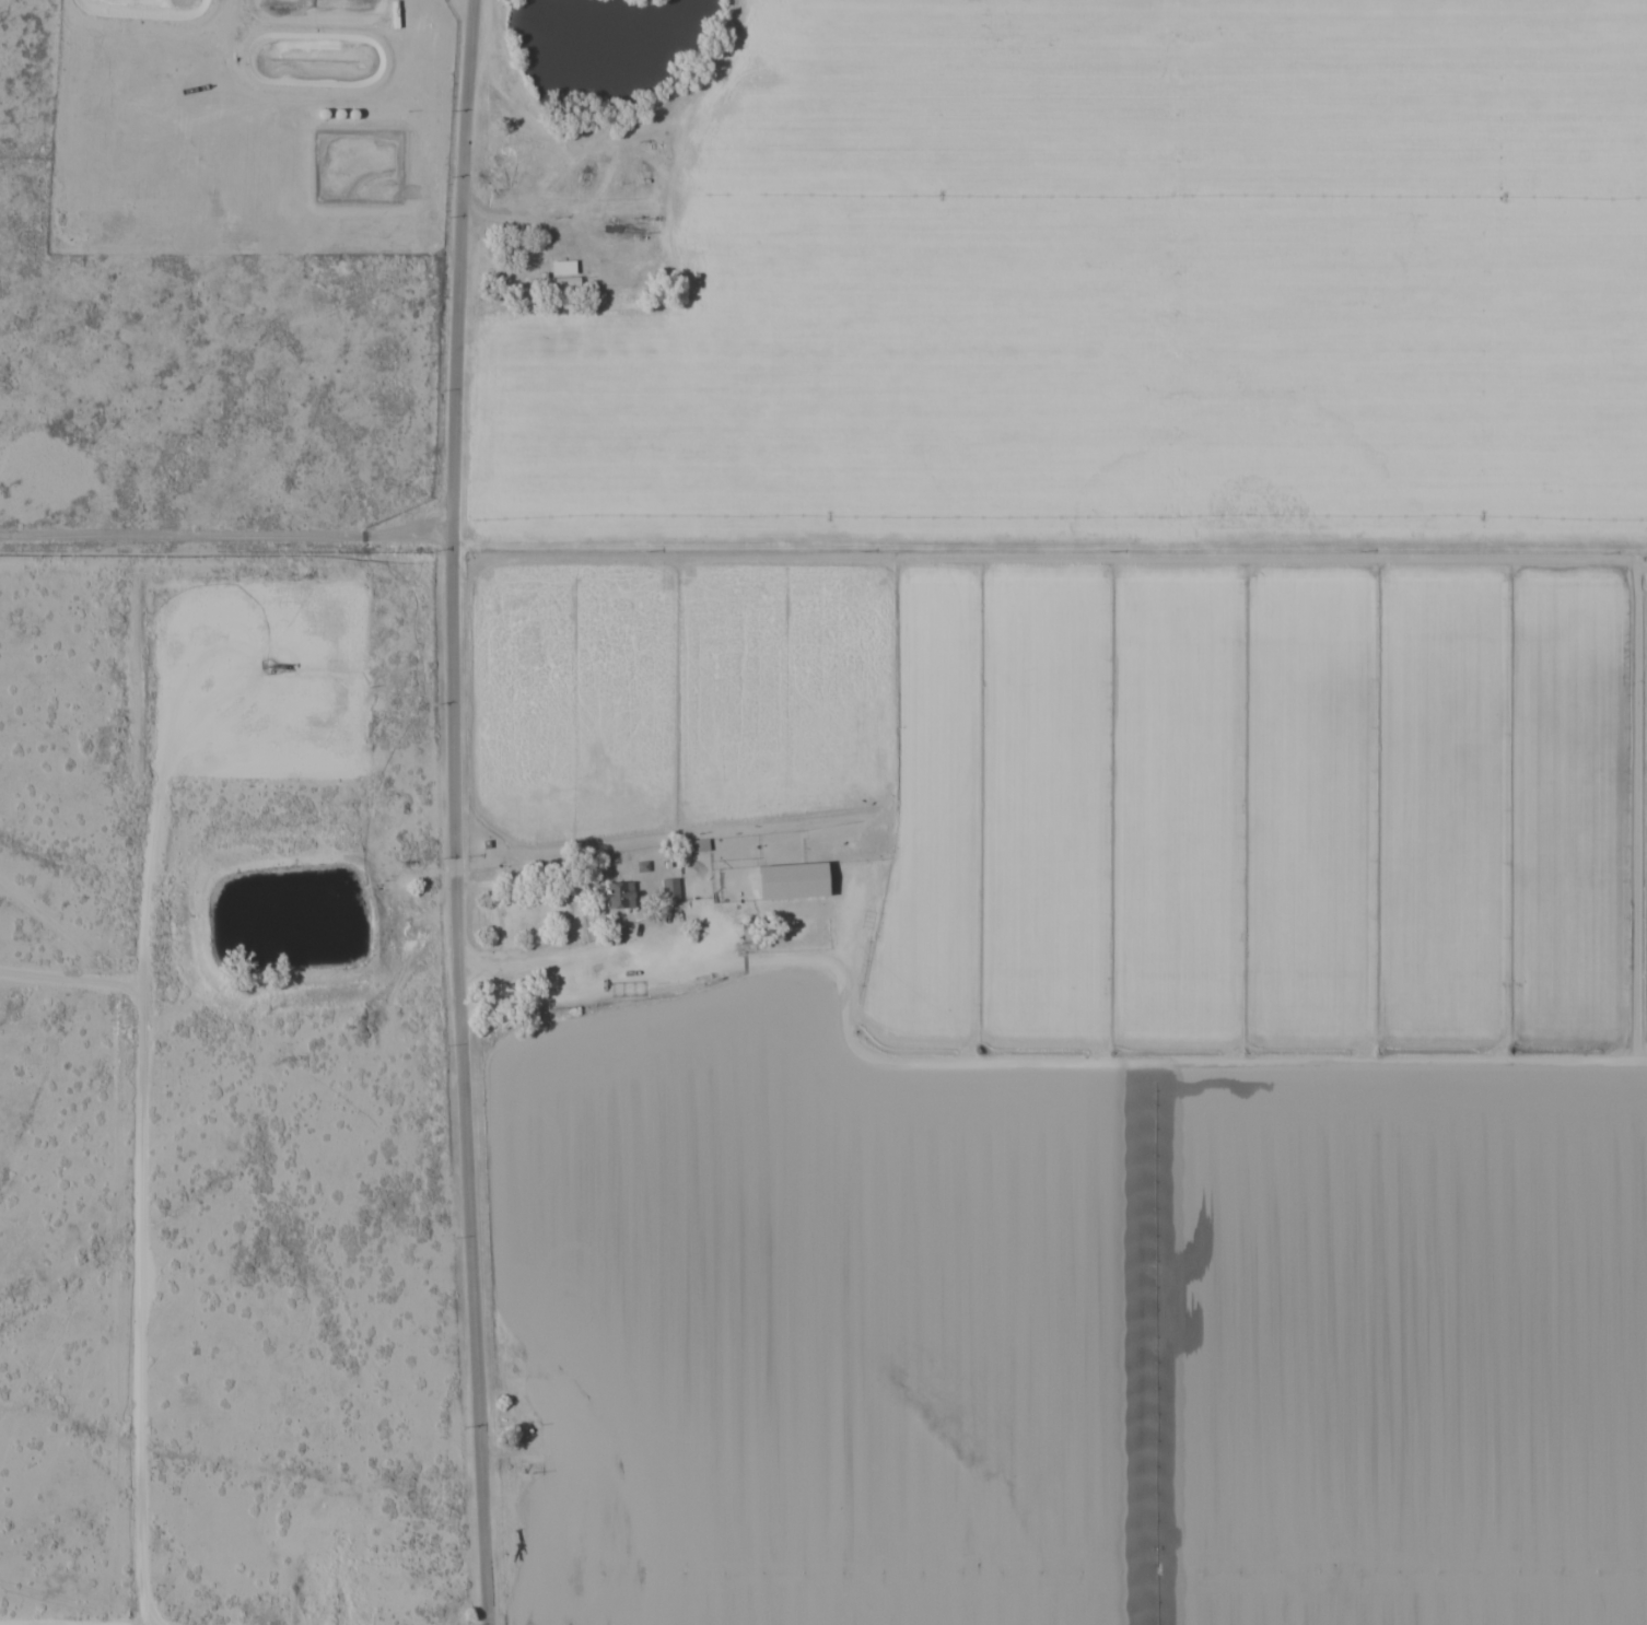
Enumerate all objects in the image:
road: (678, 141)
road: (451, 812)
building: (799, 880)
building: (670, 889)
road: (654, 981)
road: (1145, 1056)
road: (599, 1563)
road: (571, 1603)

